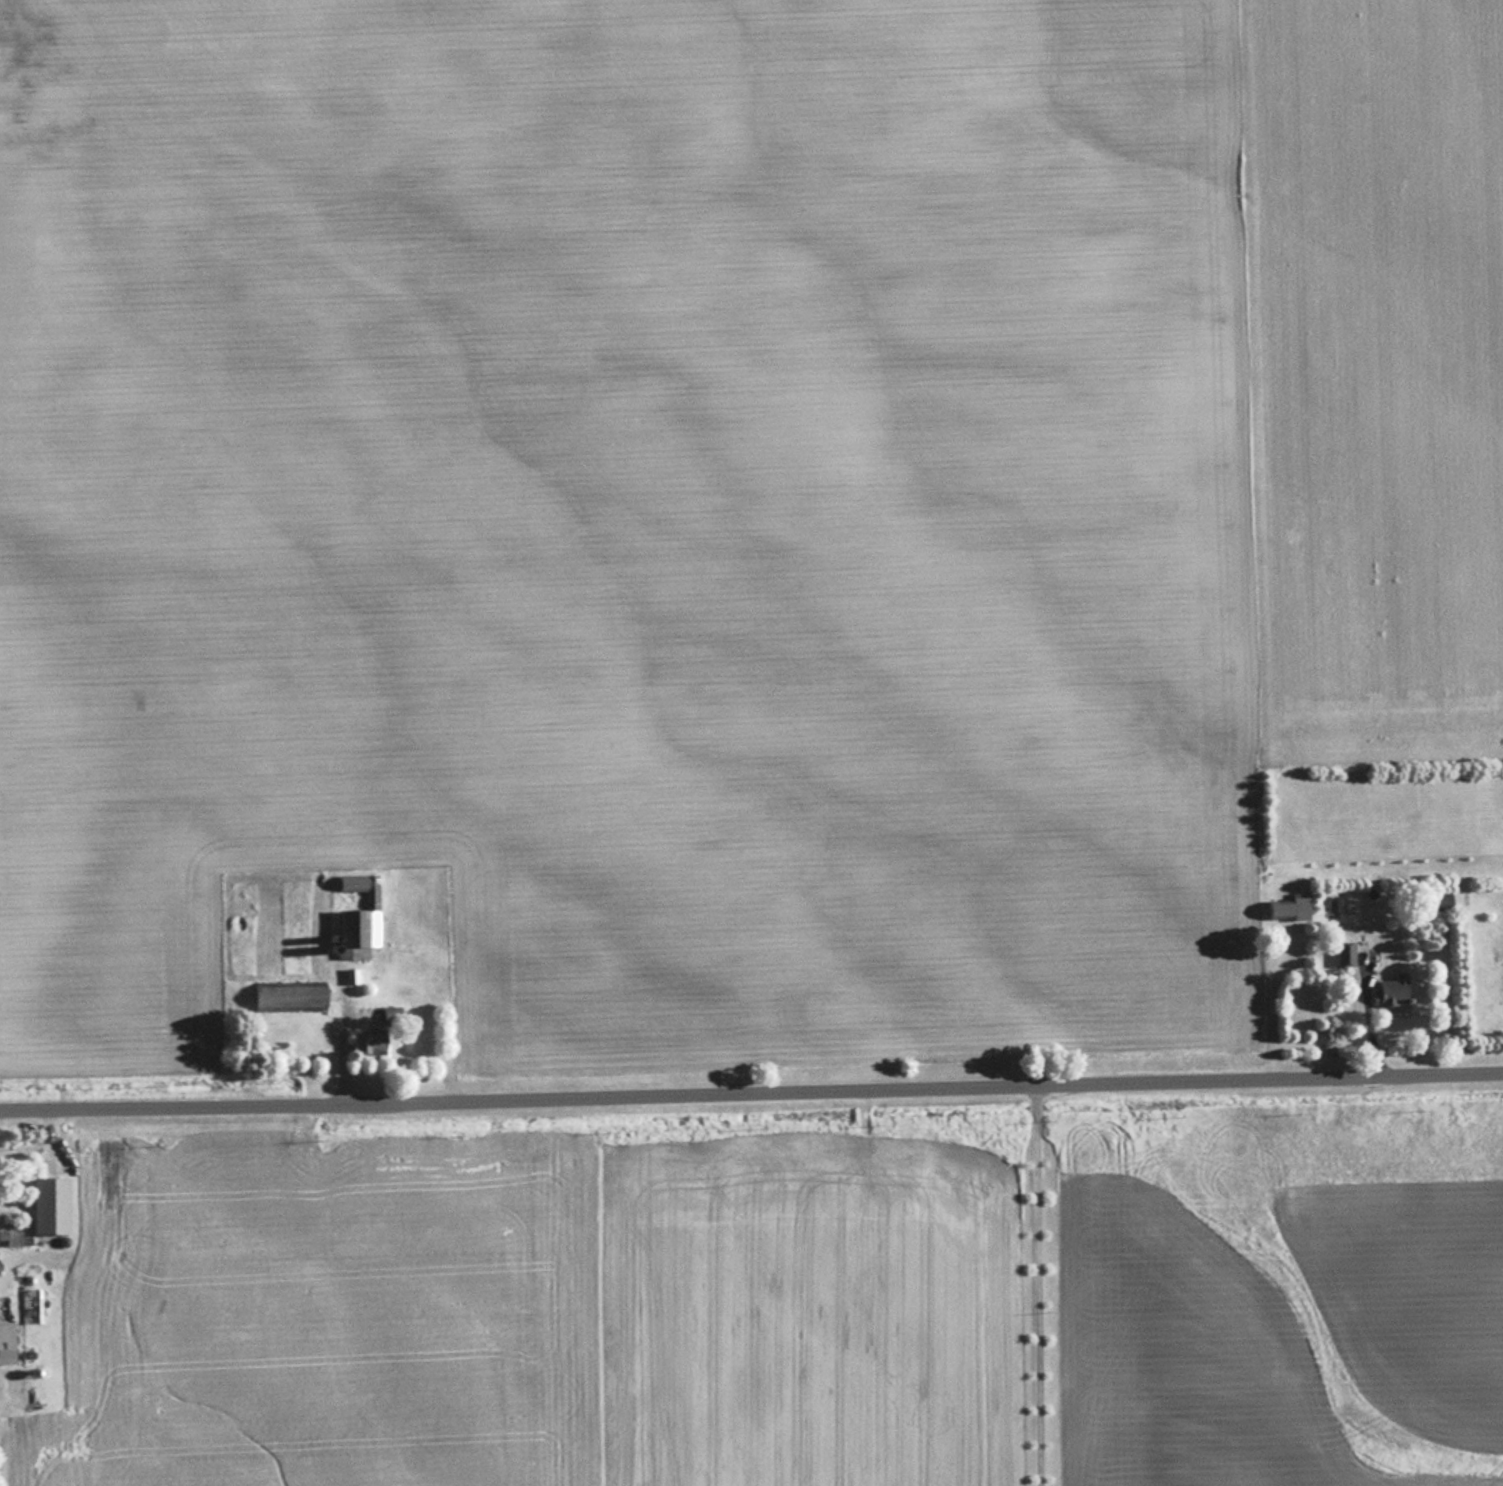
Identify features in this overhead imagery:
building: (1285, 908)
building: (362, 912)
building: (1344, 951)
building: (353, 976)
building: (1391, 990)
building: (293, 997)
building: (380, 1034)
road: (340, 1046)
road: (751, 1096)
building: (56, 1204)
building: (16, 1237)
building: (2, 1277)
road: (1031, 1287)
building: (9, 1342)

